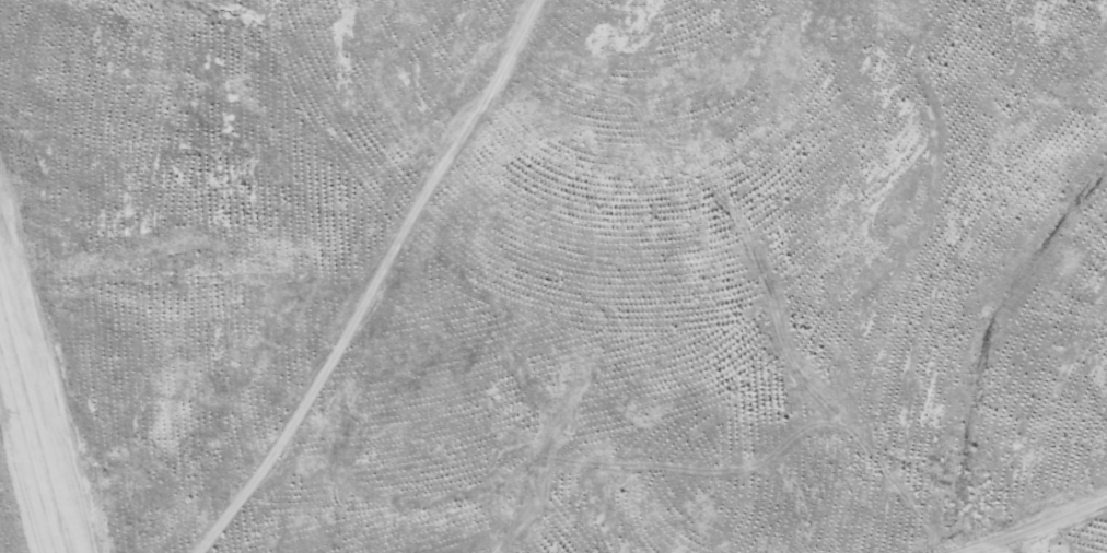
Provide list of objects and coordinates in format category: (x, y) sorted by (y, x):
road: (35, 427)

